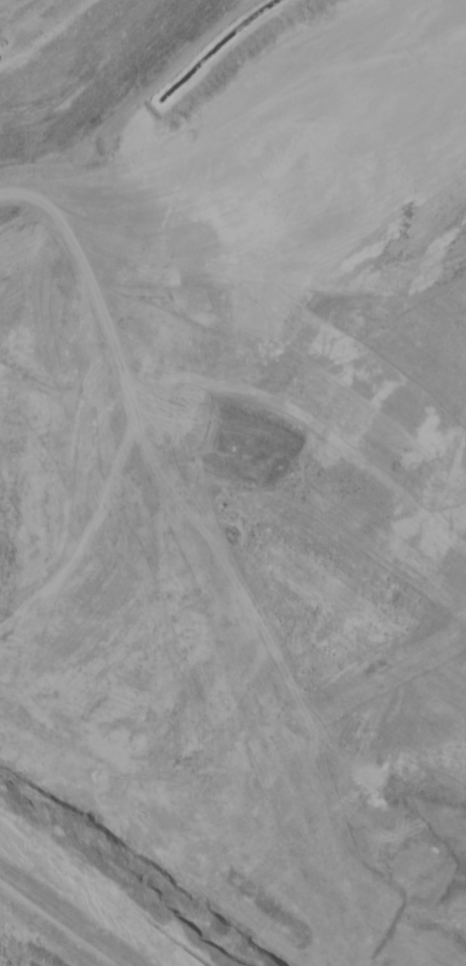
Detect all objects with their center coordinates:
road: (115, 98)

